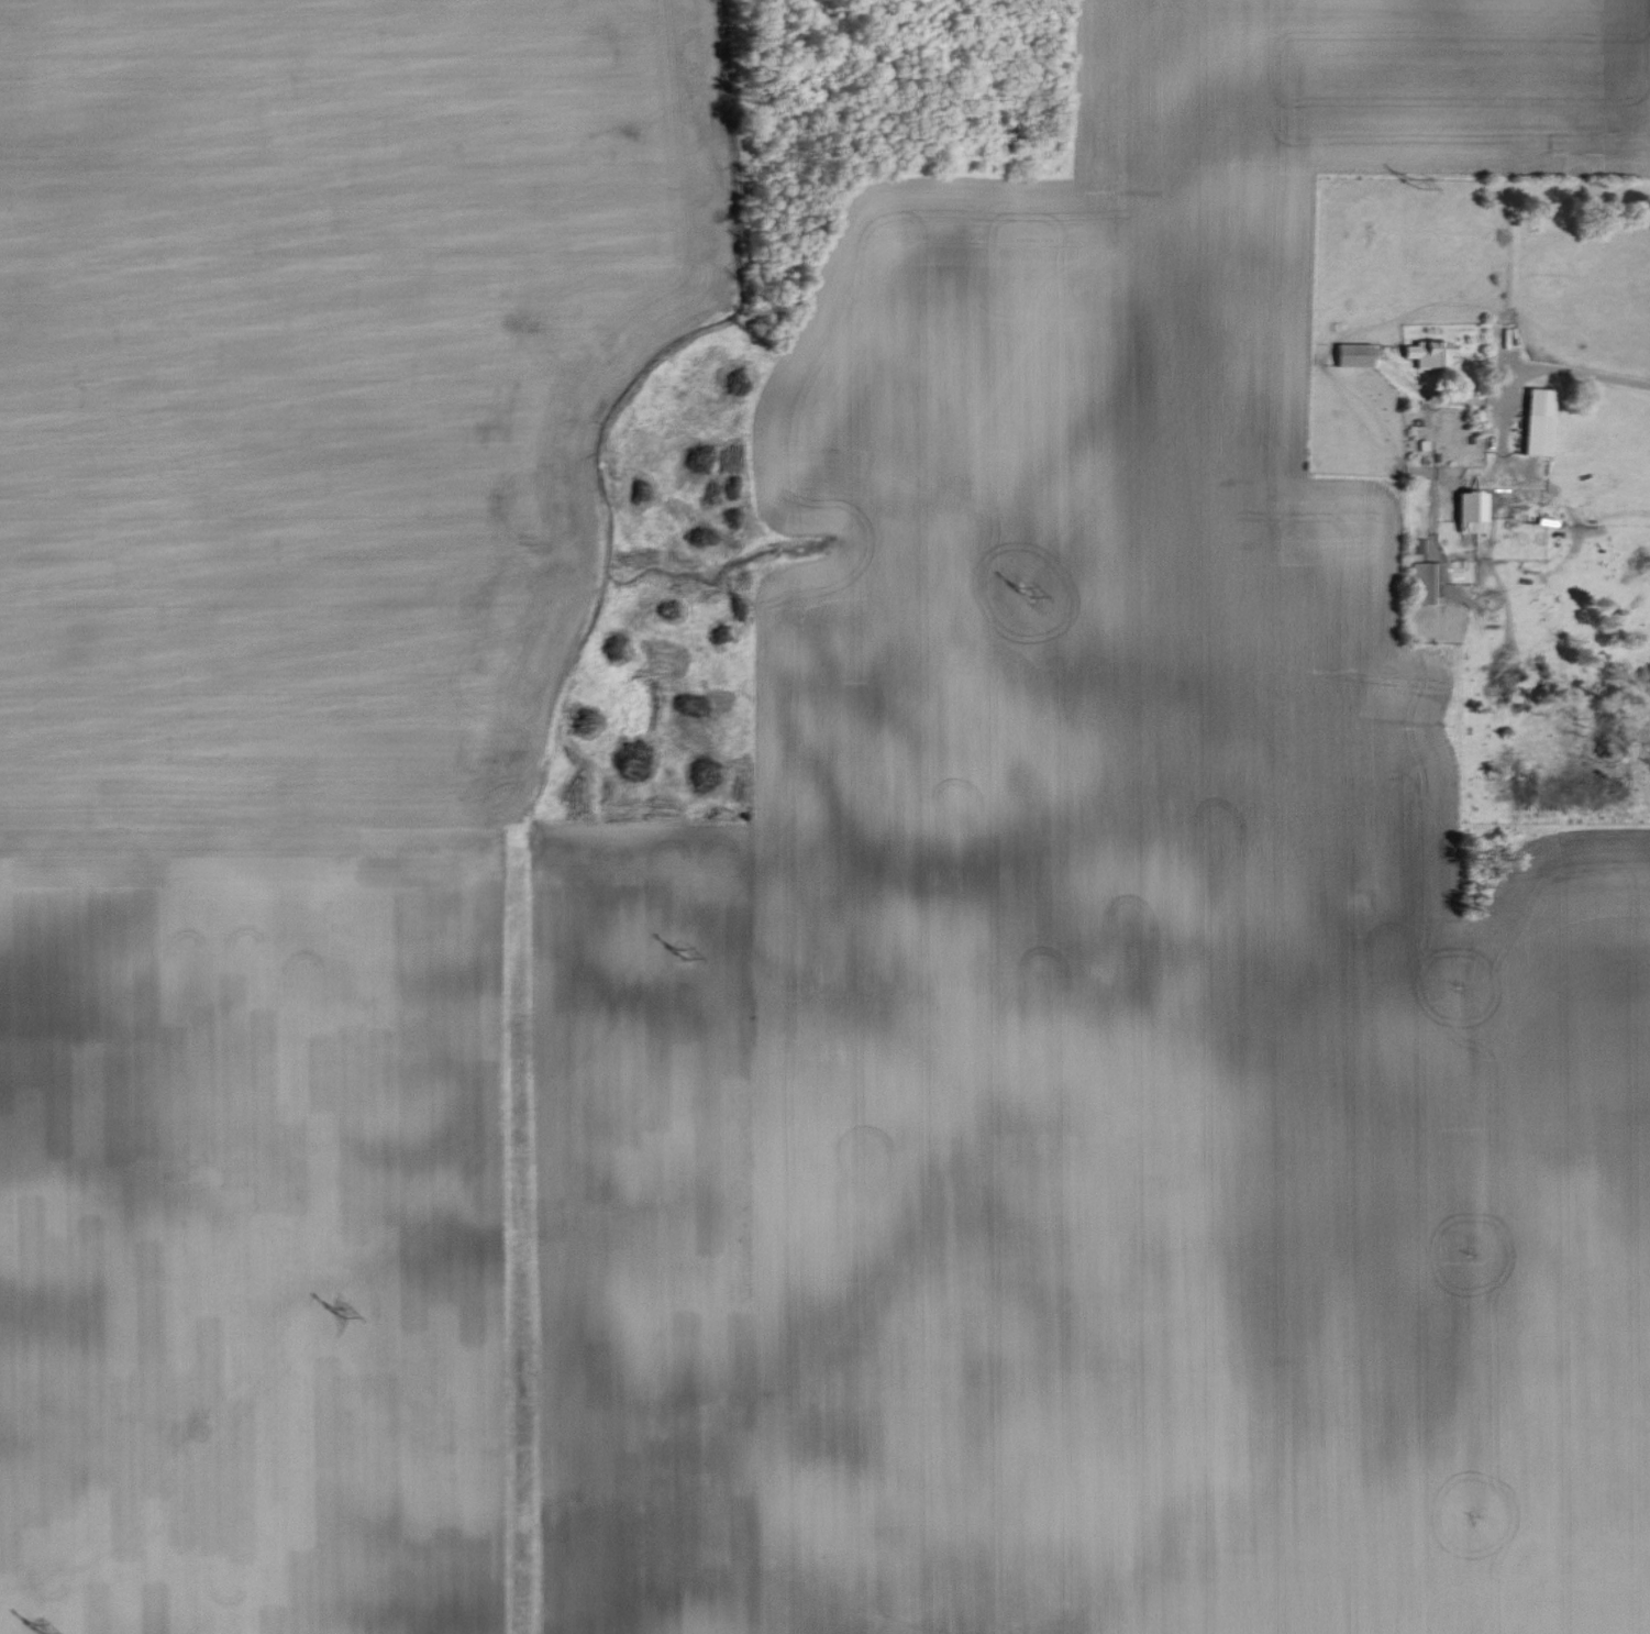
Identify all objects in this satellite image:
power tower: (1418, 178)
building: (1354, 354)
road: (1441, 401)
building: (1540, 421)
road: (1497, 474)
building: (1473, 509)
building: (1428, 582)
power tower: (1025, 592)
power tower: (678, 956)
power tower: (337, 1313)
power tower: (37, 1630)

